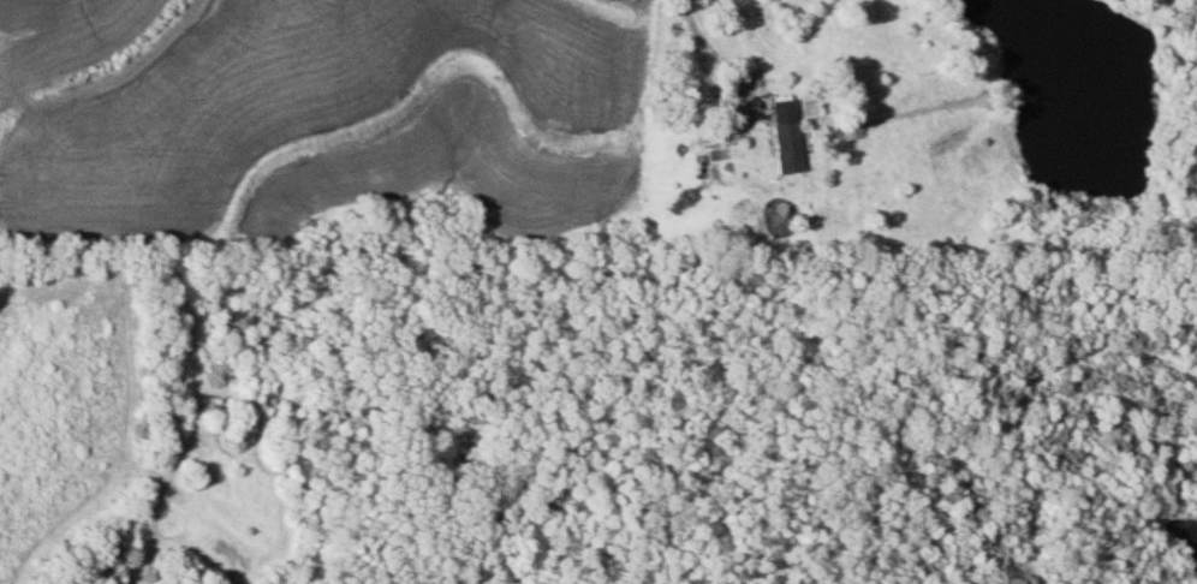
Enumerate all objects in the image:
road: (709, 58)
building: (780, 133)

